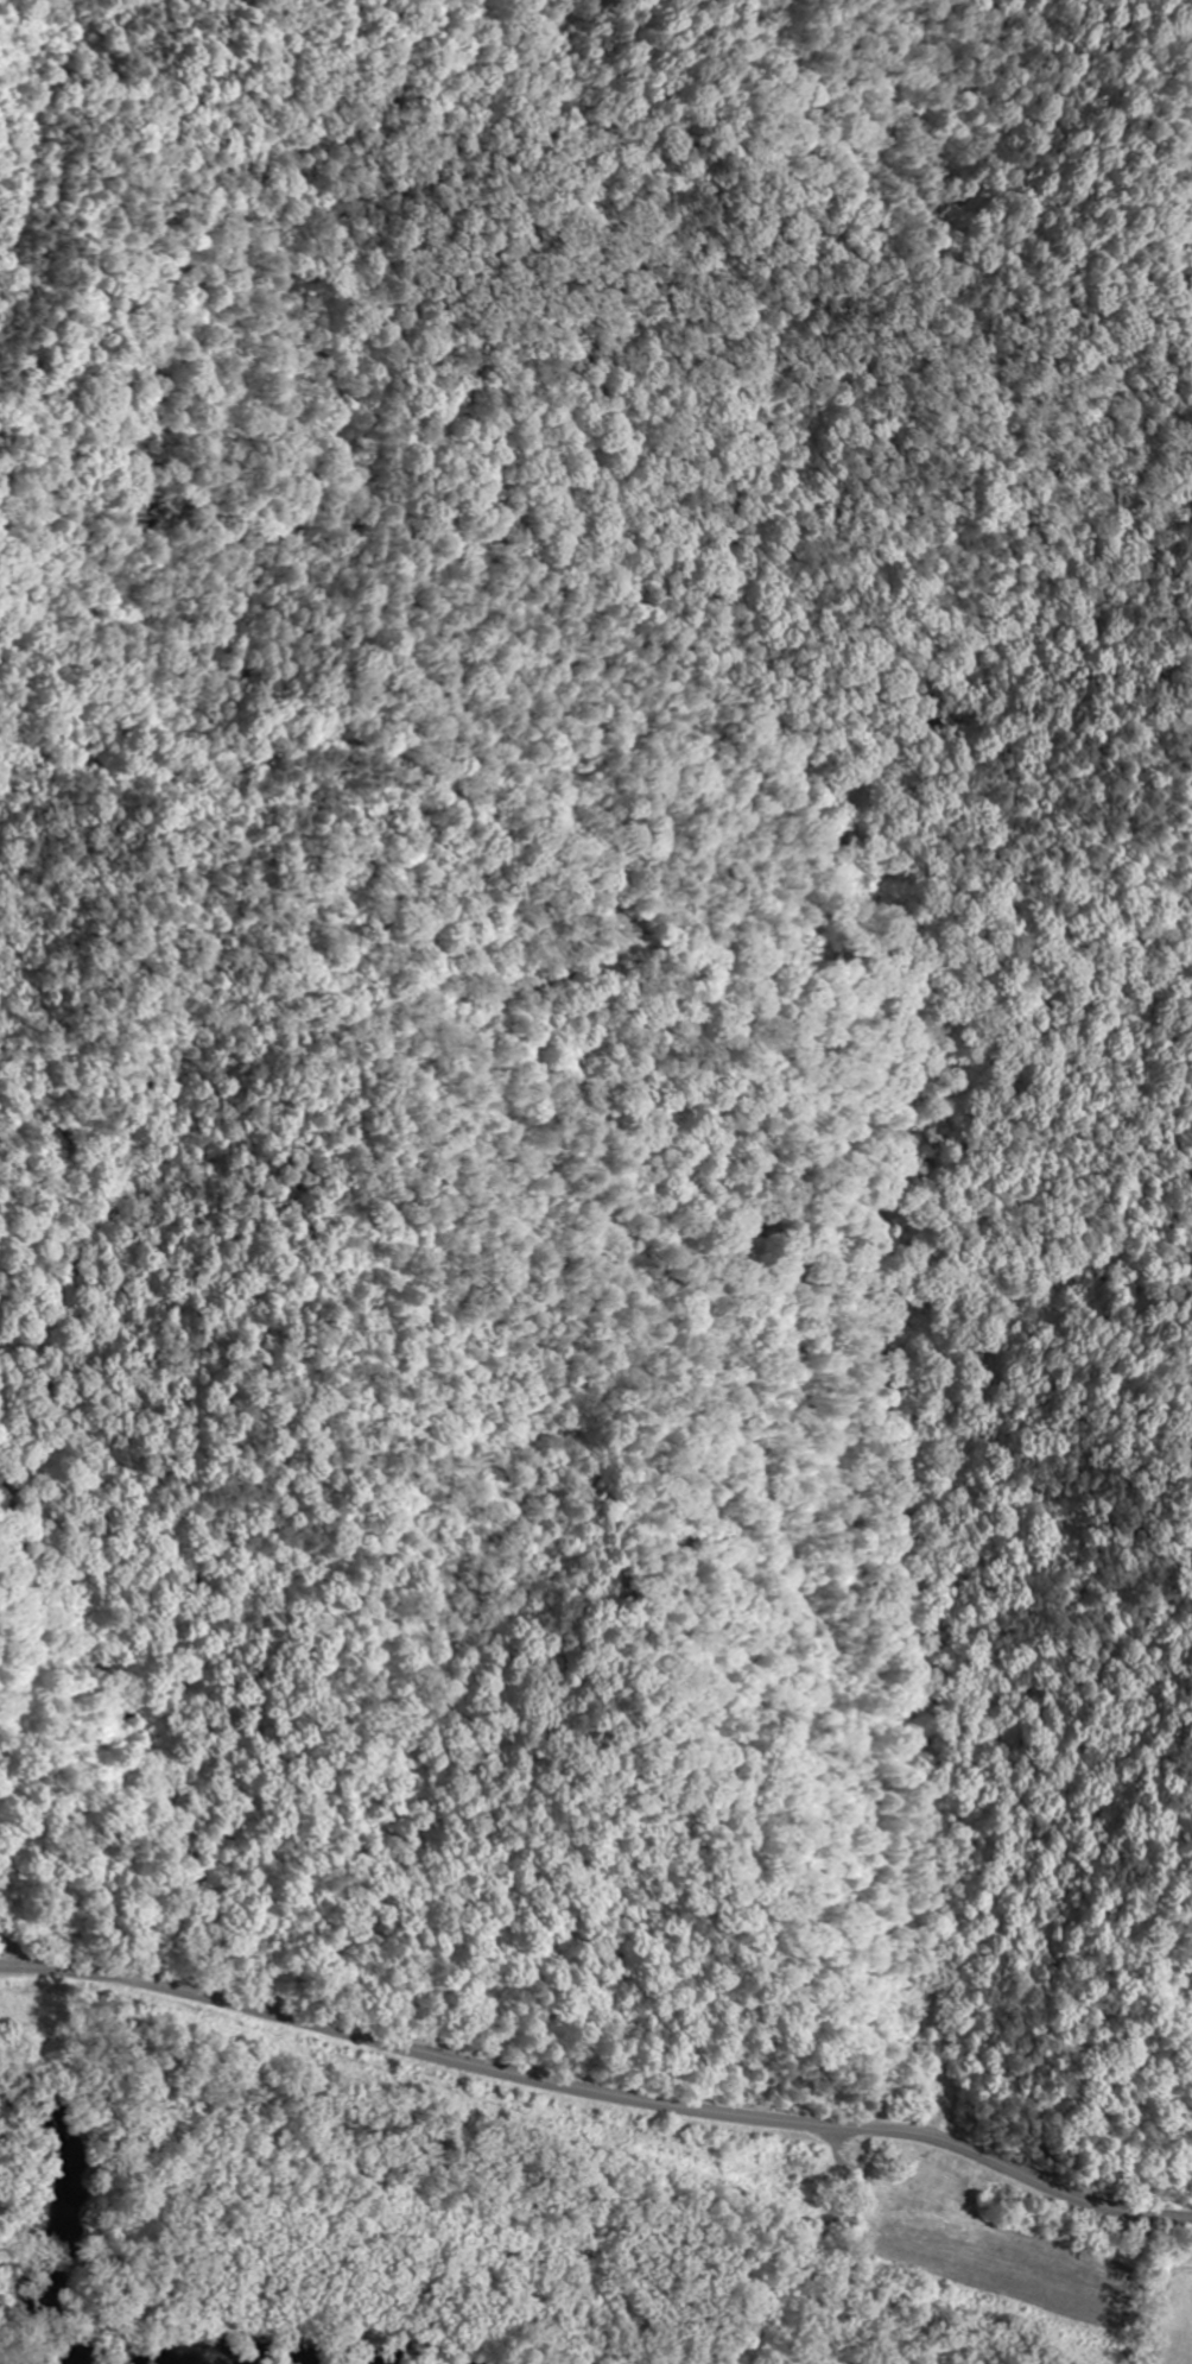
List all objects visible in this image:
road: (597, 2093)
road: (844, 2248)

